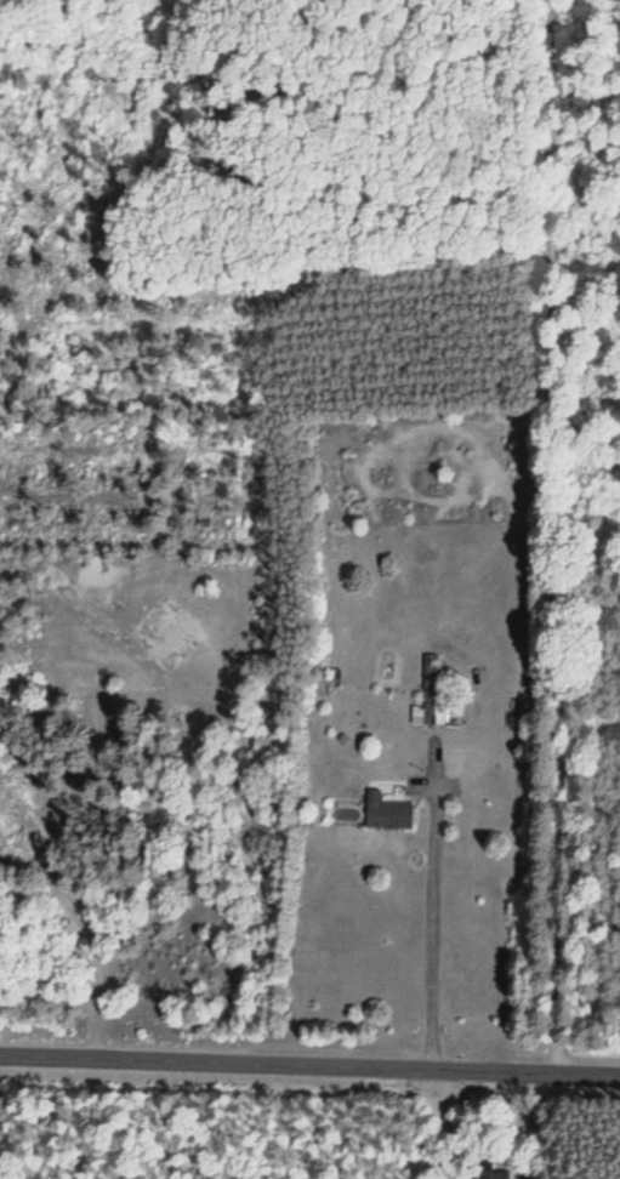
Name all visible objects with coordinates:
building: (433, 699)
building: (383, 813)
road: (309, 1063)
building: (477, 1171)

